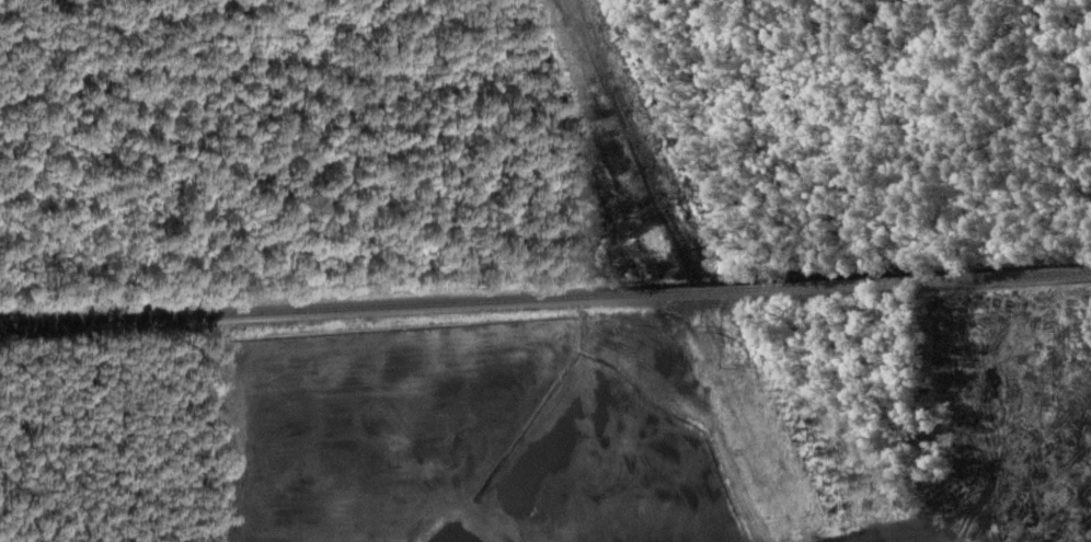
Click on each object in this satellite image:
railway: (545, 299)
power tower: (732, 365)

